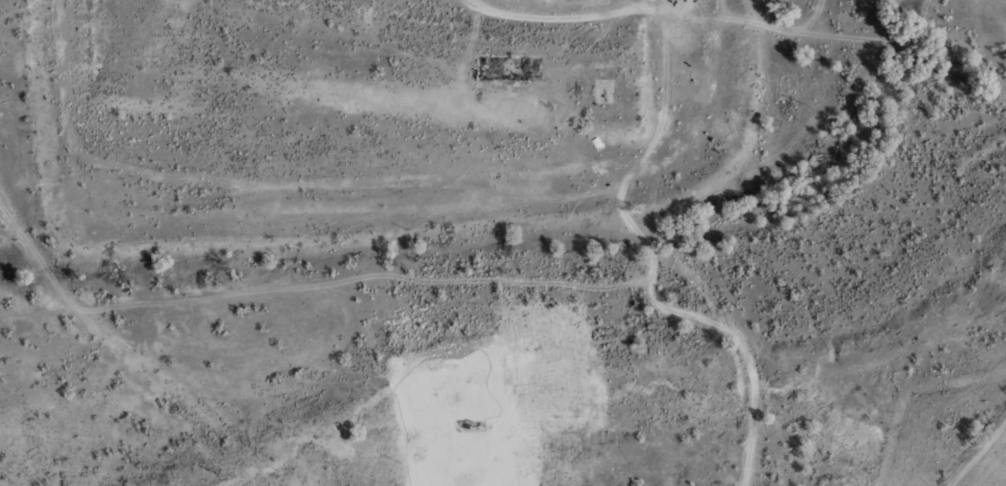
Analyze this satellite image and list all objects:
road: (648, 7)
road: (663, 107)
road: (176, 183)
road: (529, 195)
road: (648, 283)
road: (120, 349)
road: (749, 354)
road: (976, 449)

